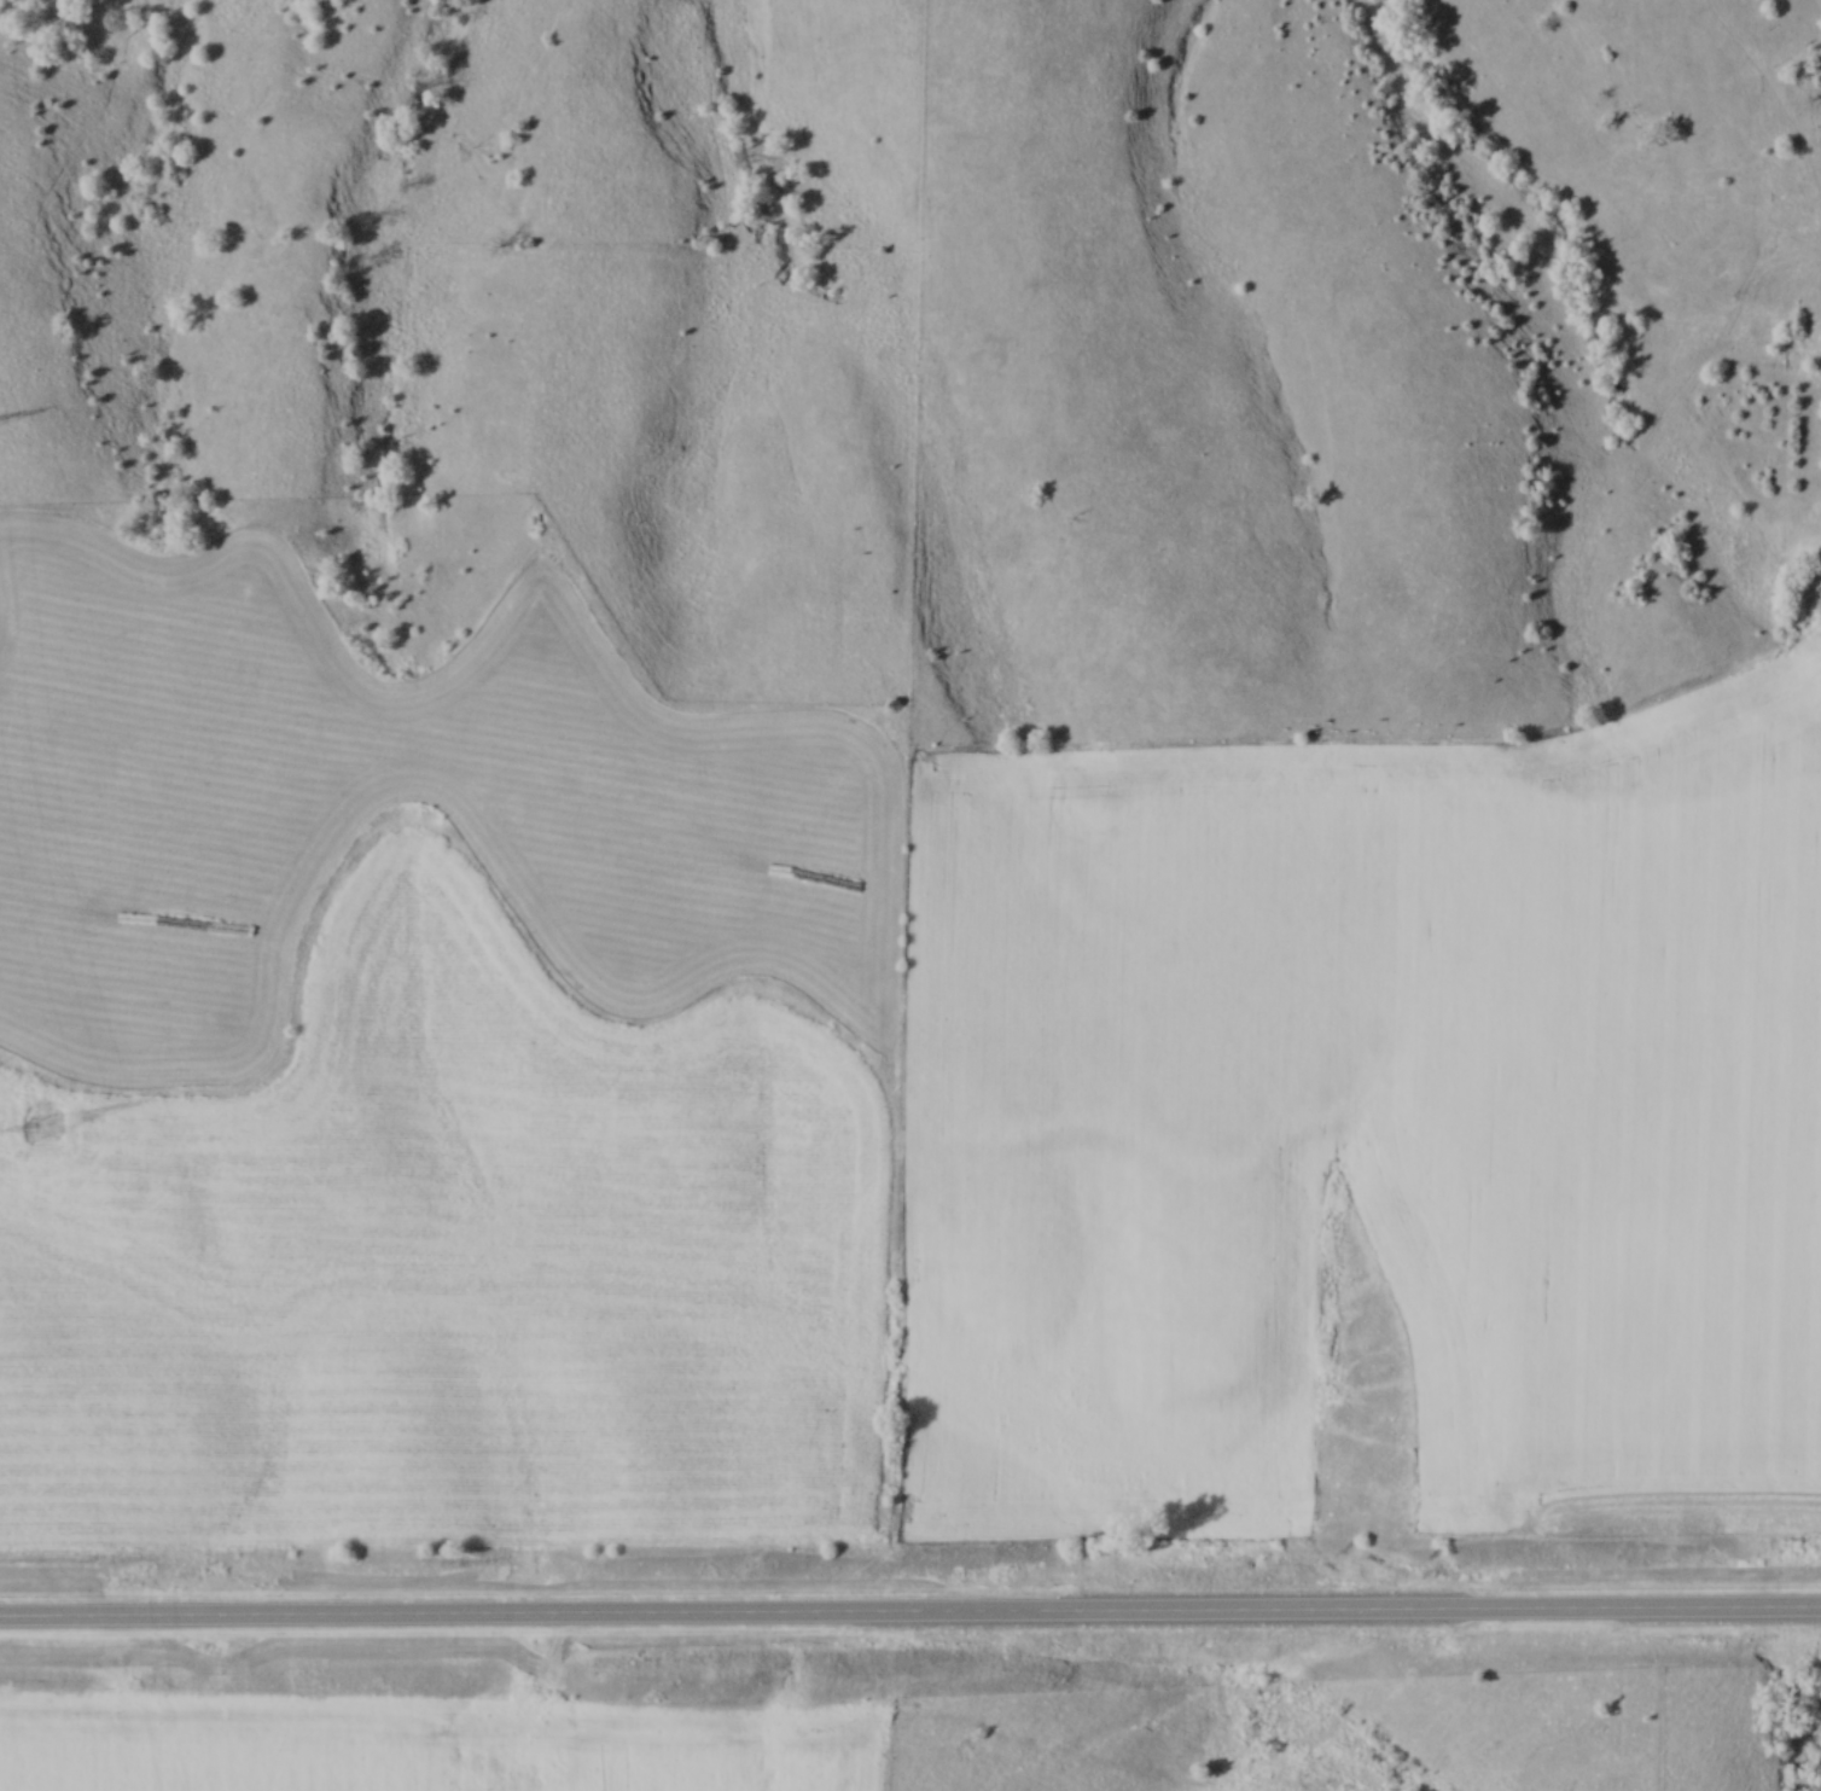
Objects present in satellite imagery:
power tower: (40, 1128)
road: (910, 1612)

